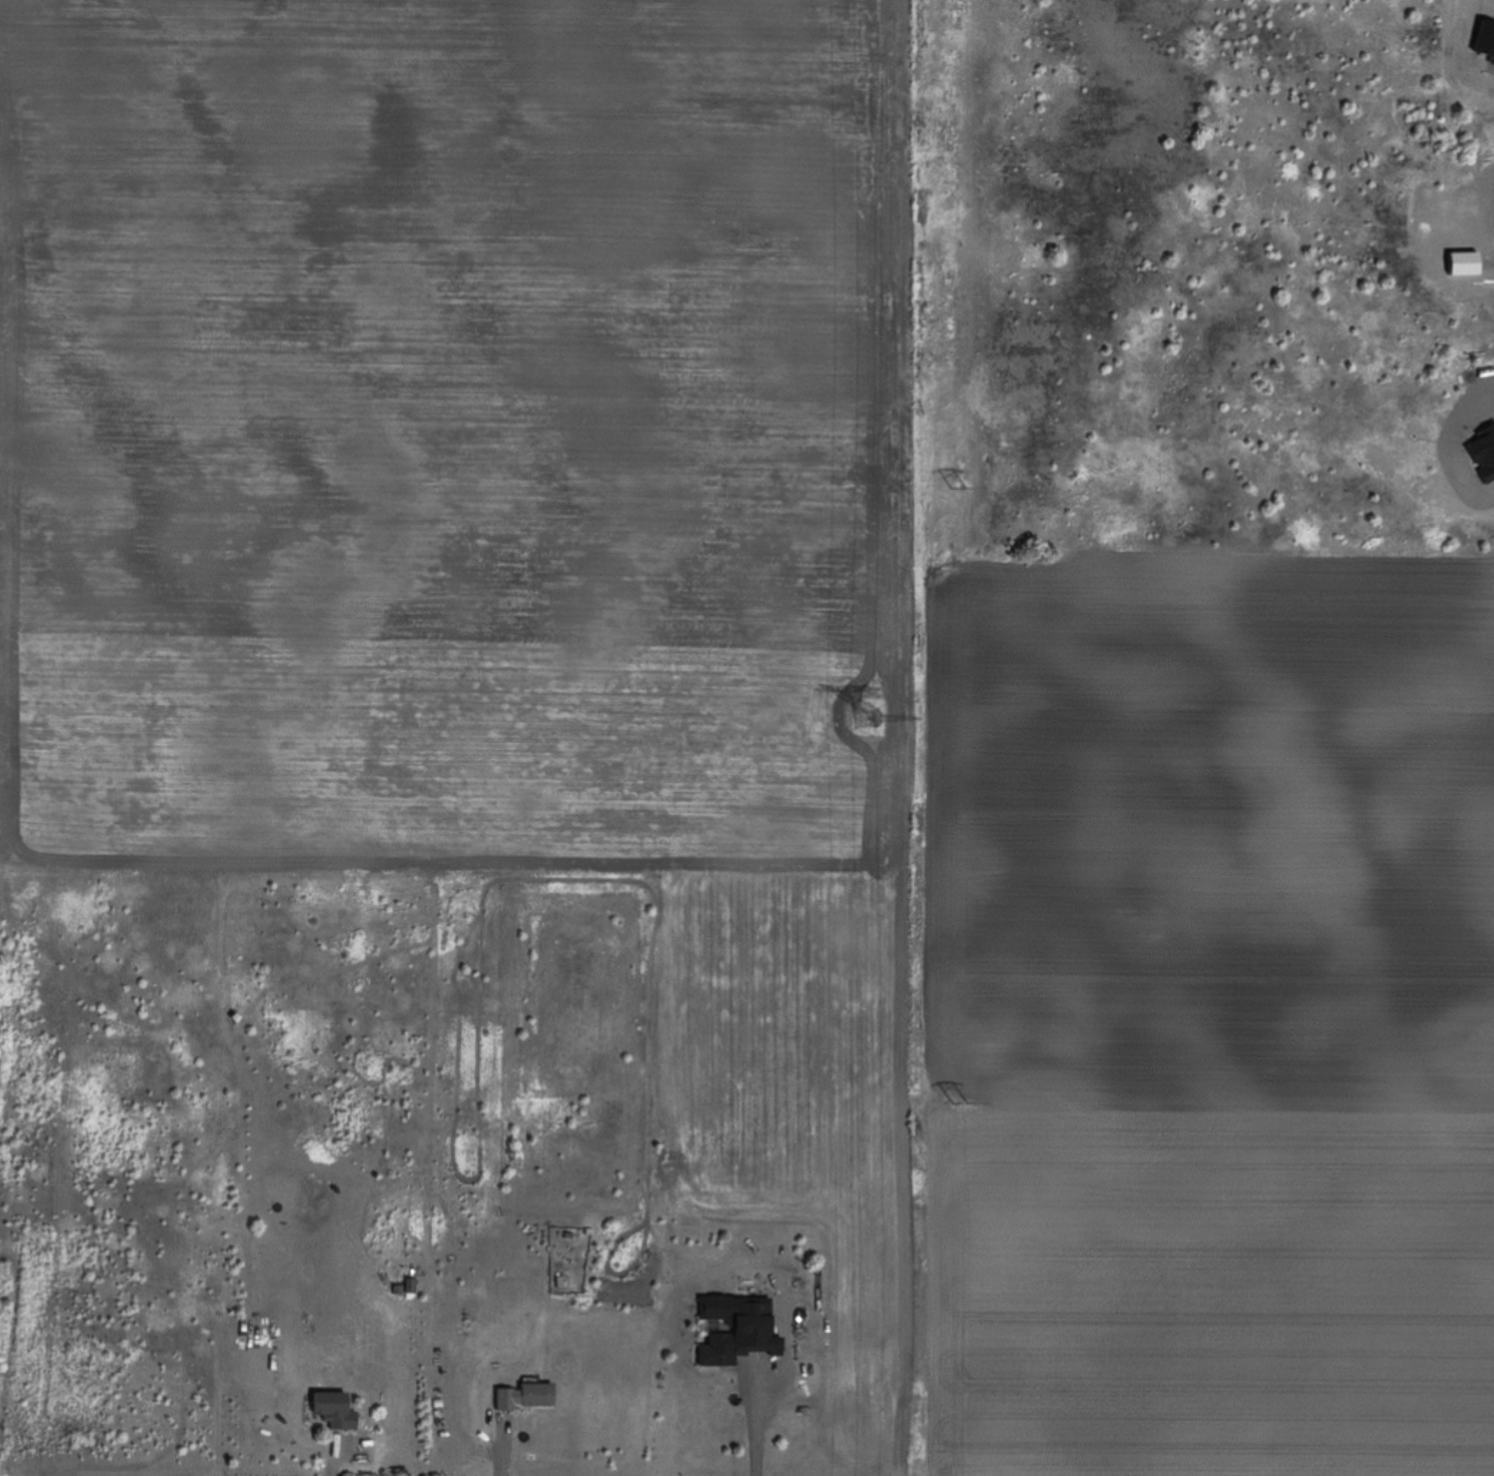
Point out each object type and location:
power tower: (962, 491)
power tower: (864, 712)
power tower: (962, 1105)
building: (335, 1412)
road: (753, 1435)

